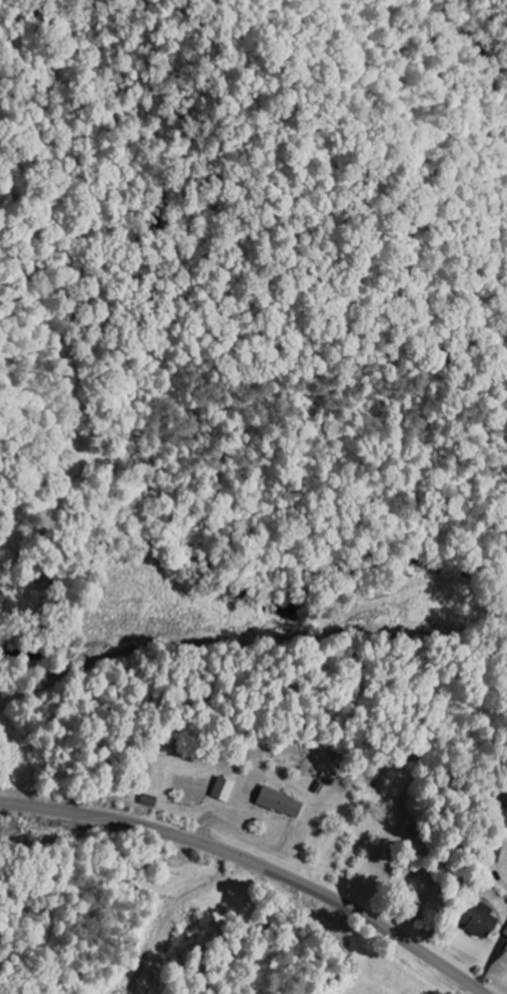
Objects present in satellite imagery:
road: (250, 647)
building: (276, 802)
road: (256, 863)
building: (475, 919)

